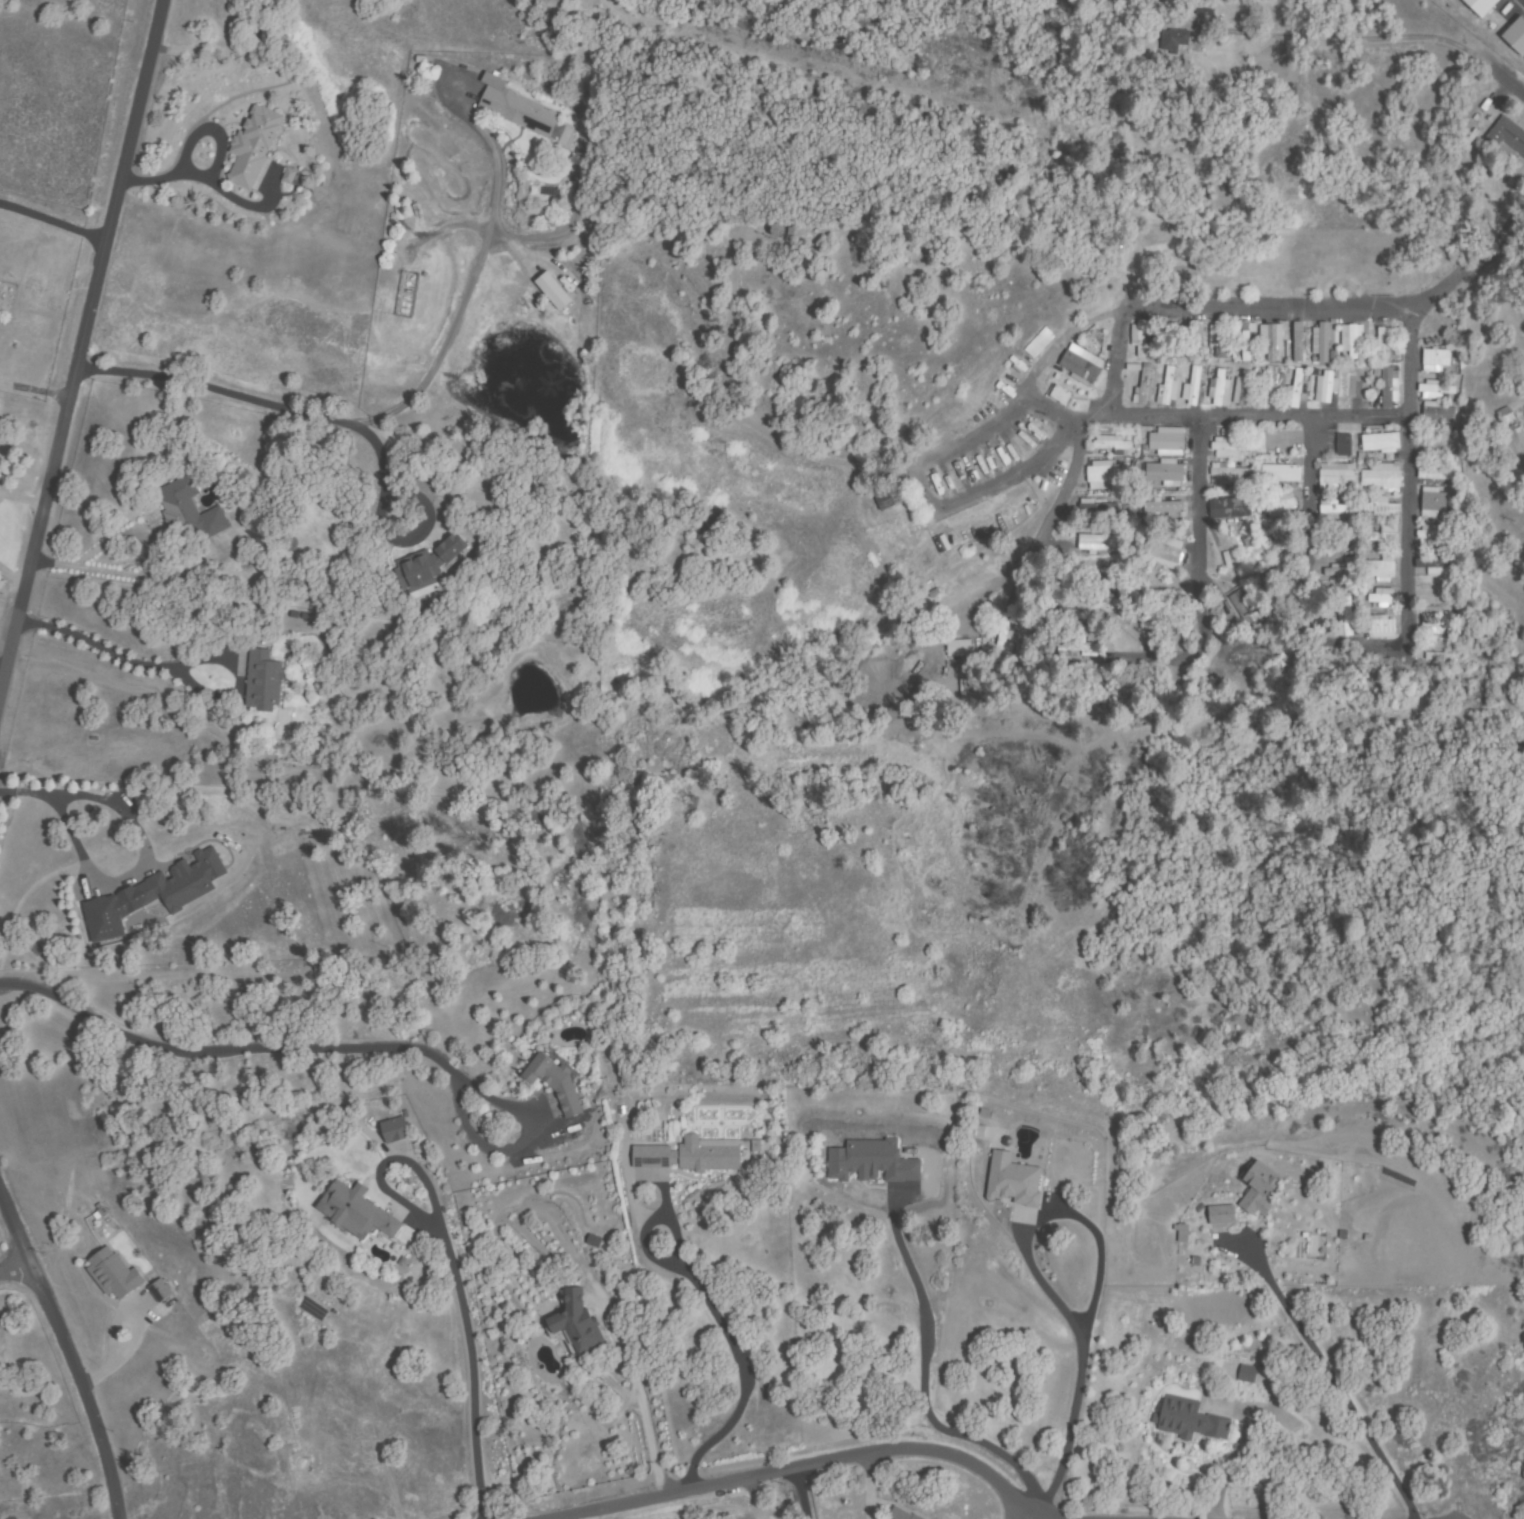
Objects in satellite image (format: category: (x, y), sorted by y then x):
building: (1477, 6)
building: (1205, 8)
airport: (1488, 27)
building: (1517, 34)
building: (1172, 40)
road: (1384, 59)
road: (1521, 94)
building: (519, 111)
building: (1507, 133)
building: (253, 147)
building: (562, 298)
road: (1216, 315)
building: (1140, 336)
building: (1193, 337)
road: (80, 339)
building: (1168, 340)
building: (1219, 340)
building: (1353, 341)
building: (1247, 342)
building: (1298, 342)
building: (1382, 342)
building: (1039, 343)
building: (1271, 343)
building: (1323, 344)
building: (1437, 360)
building: (1081, 366)
building: (1194, 385)
building: (1144, 386)
building: (1168, 386)
building: (1389, 386)
building: (1268, 387)
building: (1243, 388)
building: (1295, 388)
building: (1326, 388)
building: (1357, 388)
building: (1221, 389)
building: (1273, 389)
building: (1438, 390)
building: (1061, 395)
road: (1407, 405)
building: (1437, 416)
building: (1505, 416)
road: (1259, 420)
building: (1511, 441)
building: (1168, 442)
building: (1381, 443)
building: (1112, 445)
building: (1344, 445)
building: (1230, 448)
building: (1270, 448)
road: (1039, 465)
building: (1230, 472)
building: (1436, 472)
building: (1165, 473)
building: (1281, 474)
road: (1197, 475)
building: (1102, 476)
building: (1337, 476)
building: (1383, 478)
road: (1309, 483)
building: (891, 496)
building: (1434, 504)
building: (1277, 506)
building: (1164, 507)
building: (1230, 508)
building: (1343, 508)
building: (1382, 508)
building: (1097, 510)
building: (189, 511)
building: (1434, 534)
building: (1385, 537)
building: (1342, 542)
building: (1098, 543)
building: (1226, 553)
building: (1161, 554)
building: (428, 564)
building: (1436, 564)
building: (1380, 569)
building: (1339, 571)
building: (1269, 577)
building: (1435, 593)
building: (1383, 596)
building: (1137, 603)
building: (1244, 608)
building: (1279, 611)
building: (1112, 614)
building: (1348, 619)
building: (1436, 621)
building: (1379, 627)
building: (1000, 642)
building: (1075, 646)
building: (958, 648)
building: (1251, 651)
building: (1289, 655)
building: (1438, 656)
building: (1230, 663)
building: (263, 682)
building: (153, 896)
building: (555, 1083)
building: (395, 1131)
building: (693, 1156)
building: (872, 1161)
building: (1013, 1181)
building: (1259, 1189)
building: (356, 1213)
building: (1222, 1215)
building: (1178, 1232)
road: (14, 1270)
building: (114, 1274)
building: (160, 1290)
building: (575, 1325)
road: (63, 1354)
building: (1248, 1374)
building: (1189, 1419)
road: (810, 1468)
building: (901, 1515)

